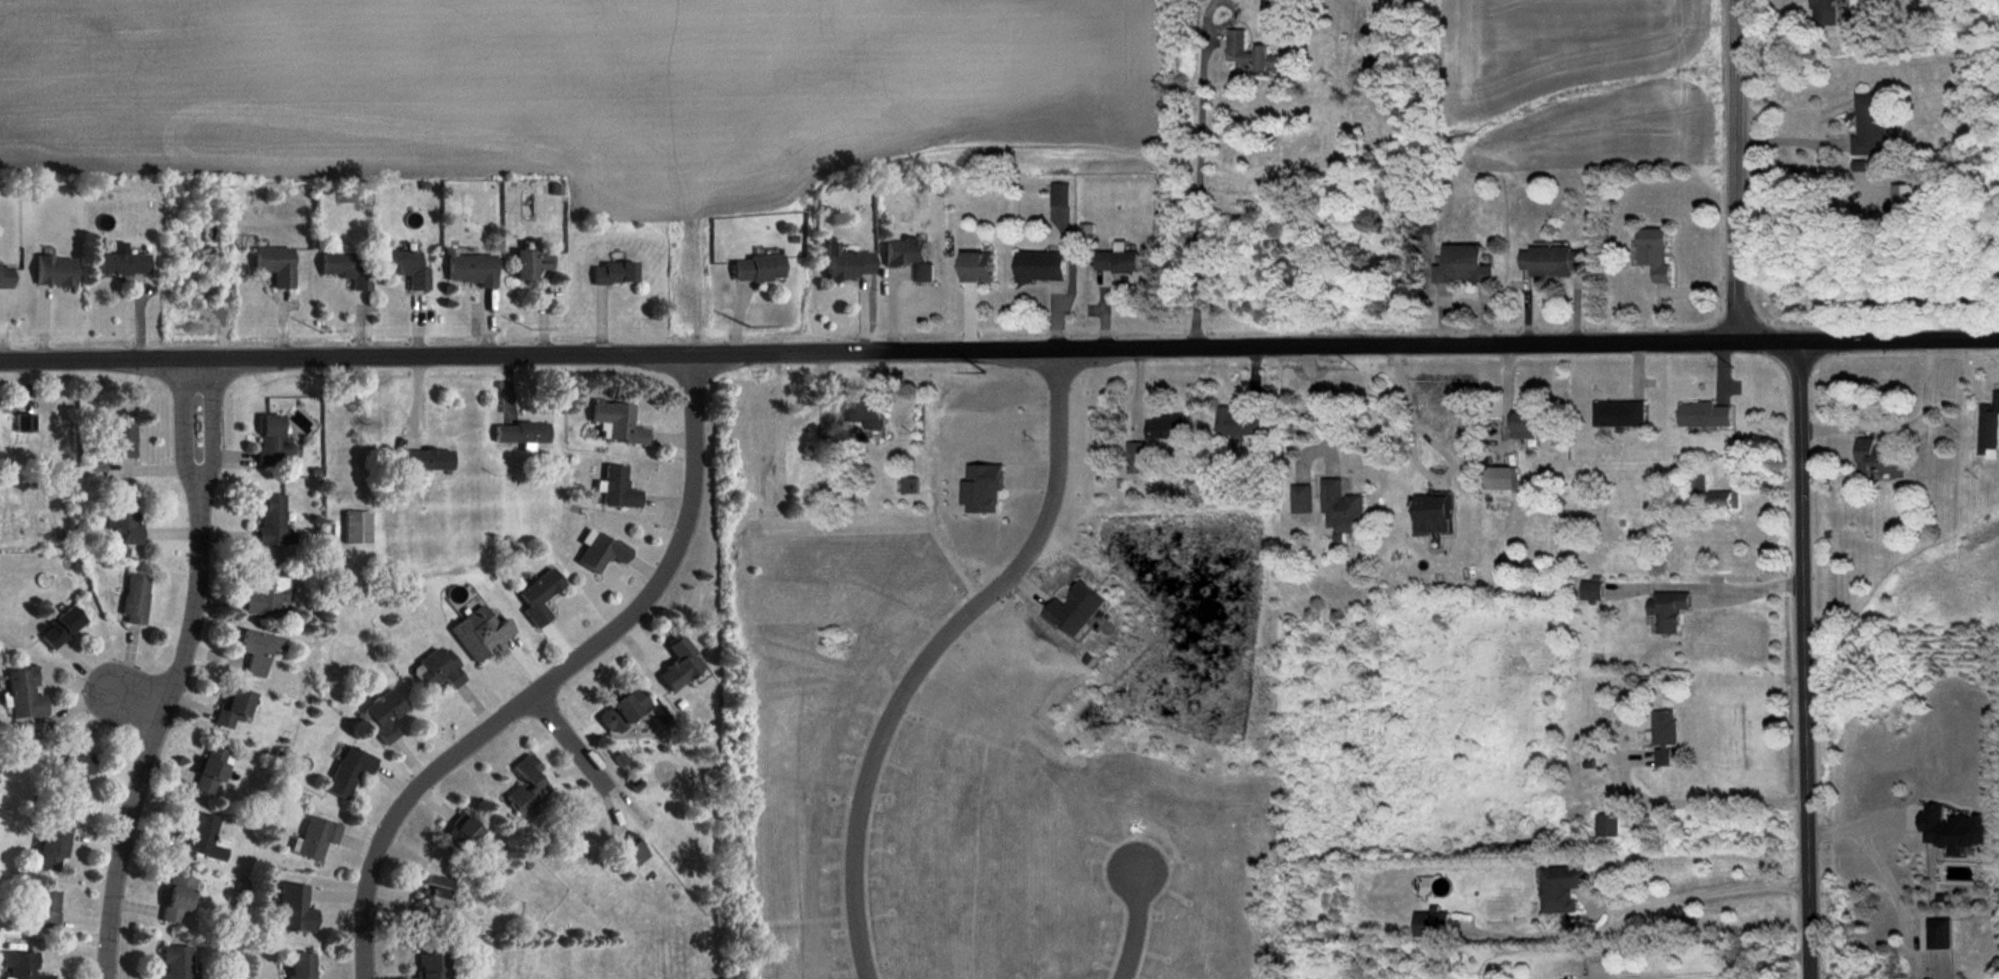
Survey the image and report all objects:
building: (1824, 11)
building: (1250, 53)
crop: (1576, 68)
crop: (575, 89)
building: (1866, 125)
road: (1789, 141)
road: (1771, 169)
road: (1735, 172)
road: (1199, 192)
building: (1060, 196)
building: (1903, 198)
building: (1646, 251)
building: (906, 254)
building: (1547, 254)
building: (840, 259)
building: (1110, 260)
building: (1034, 261)
building: (271, 262)
building: (525, 262)
building: (122, 263)
building: (1455, 263)
building: (755, 264)
building: (404, 266)
building: (343, 267)
building: (974, 267)
building: (468, 268)
building: (609, 268)
building: (53, 270)
building: (4, 276)
road: (999, 350)
road: (1318, 407)
building: (1703, 410)
building: (1615, 412)
building: (861, 415)
road: (209, 418)
road: (187, 419)
building: (615, 420)
building: (23, 422)
building: (1238, 423)
building: (1160, 424)
building: (1986, 424)
building: (1526, 425)
road: (1902, 428)
building: (518, 431)
building: (120, 439)
building: (271, 442)
building: (1132, 452)
road: (1411, 456)
building: (422, 457)
building: (1879, 458)
building: (1499, 477)
building: (613, 484)
building: (976, 484)
building: (910, 485)
building: (1699, 487)
building: (1298, 496)
building: (1725, 499)
building: (1334, 504)
building: (1425, 508)
building: (121, 519)
building: (272, 520)
building: (356, 527)
building: (598, 550)
building: (1593, 590)
building: (263, 591)
building: (534, 591)
road: (1747, 591)
building: (134, 596)
building: (1661, 610)
building: (60, 625)
building: (478, 629)
building: (258, 650)
road: (931, 651)
road: (1804, 661)
building: (433, 663)
building: (676, 663)
road: (552, 677)
building: (22, 695)
road: (133, 700)
building: (230, 707)
building: (618, 707)
building: (380, 712)
road: (154, 724)
building: (1665, 735)
road: (572, 740)
building: (343, 768)
building: (207, 771)
building: (69, 777)
building: (523, 781)
road: (1699, 802)
building: (1608, 825)
building: (1952, 829)
building: (459, 831)
building: (312, 834)
building: (199, 838)
building: (53, 846)
building: (625, 848)
building: (1563, 887)
road: (1707, 894)
building: (425, 896)
building: (177, 897)
building: (293, 907)
building: (44, 909)
building: (1432, 924)
road: (1139, 925)
building: (1940, 933)
building: (297, 962)
building: (168, 963)
building: (21, 964)
building: (428, 966)
road: (1707, 973)

